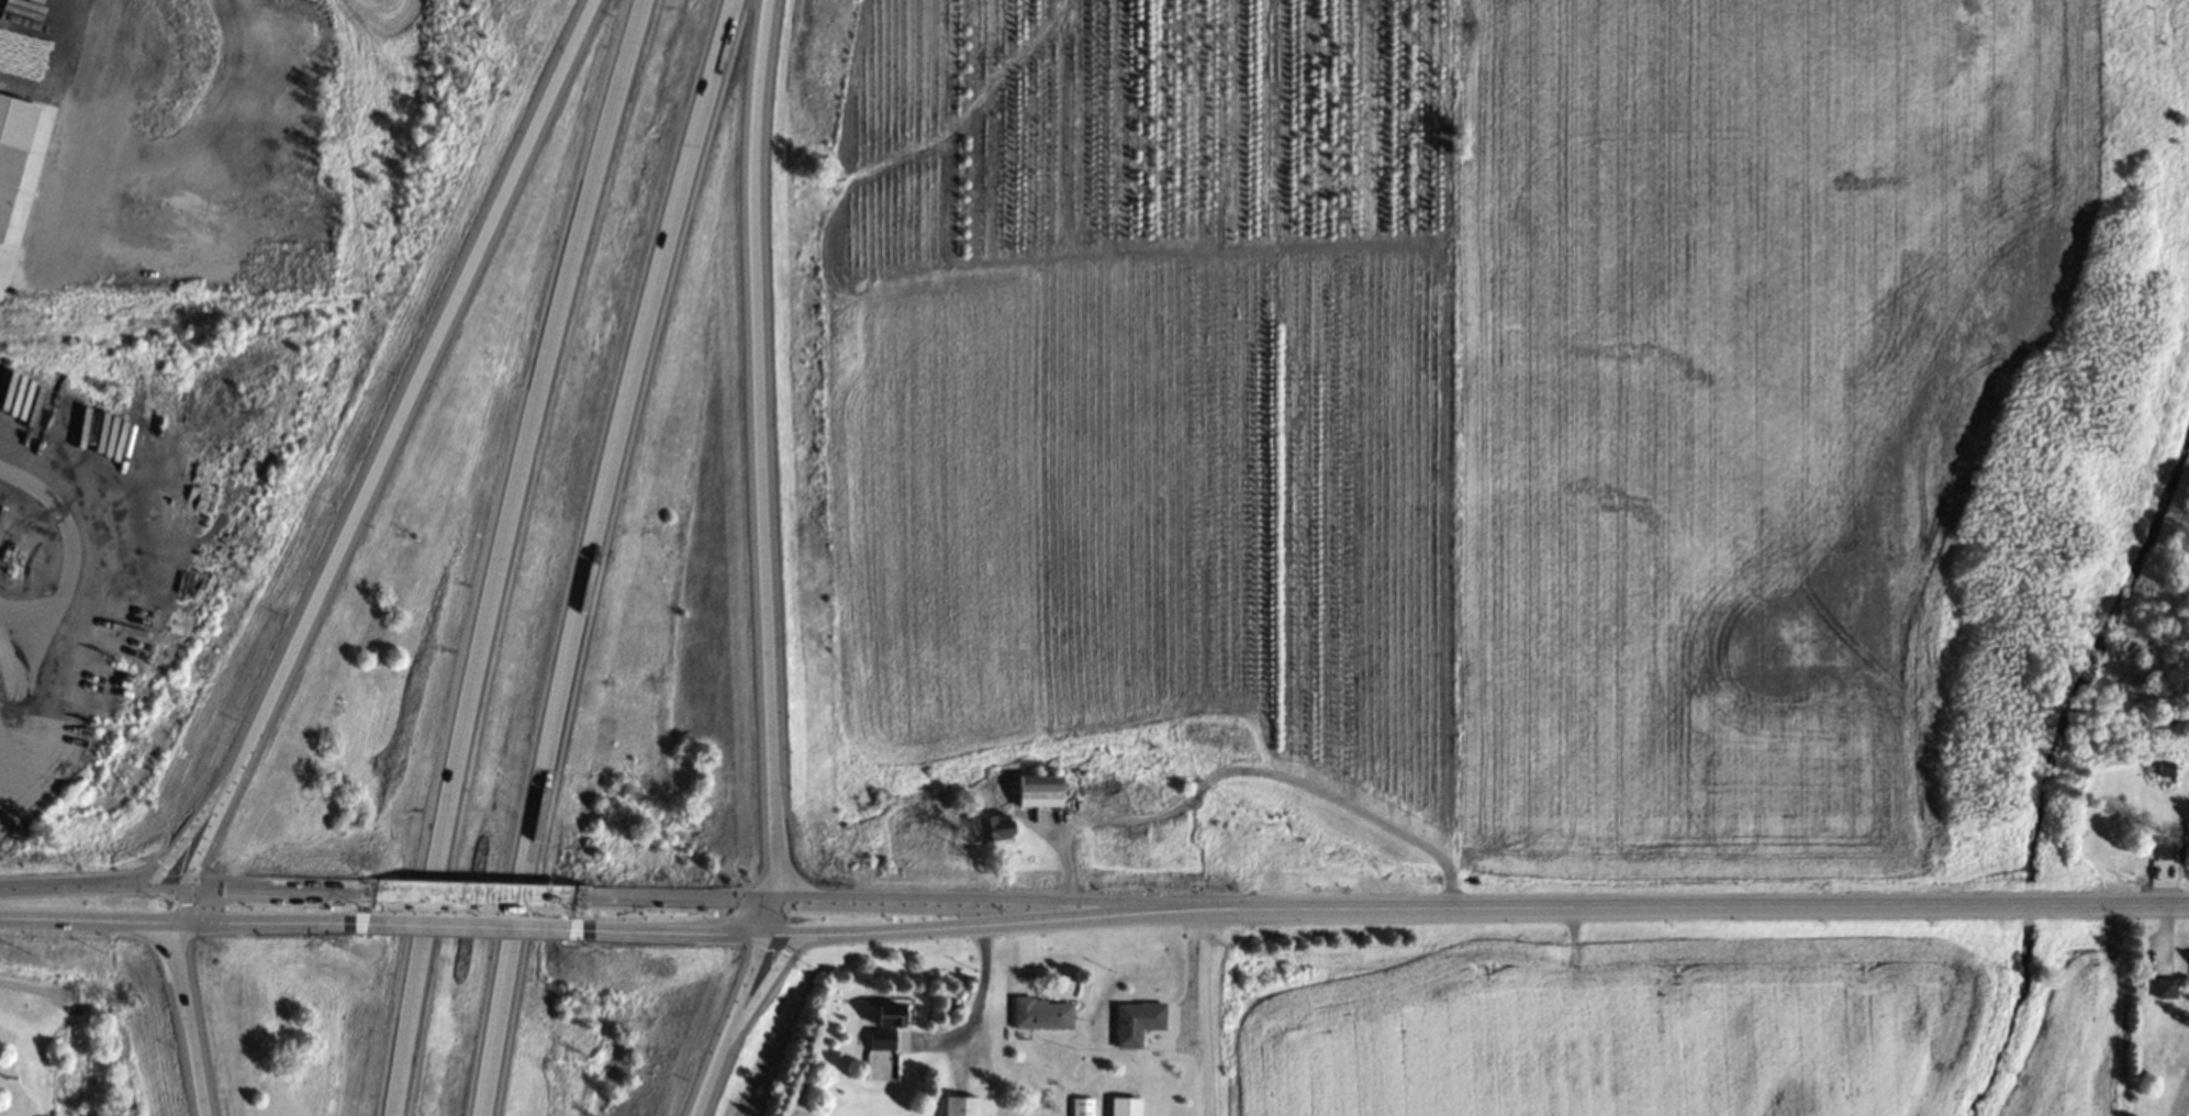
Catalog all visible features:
crop: (389, 25)
building: (11, 186)
road: (412, 390)
road: (762, 449)
road: (506, 551)
road: (606, 556)
road: (53, 583)
road: (18, 620)
road: (1246, 765)
building: (1034, 790)
building: (987, 827)
road: (206, 834)
road: (188, 835)
building: (2173, 849)
road: (90, 883)
road: (280, 890)
road: (469, 895)
road: (662, 900)
road: (870, 902)
road: (179, 903)
road: (2023, 905)
road: (2130, 905)
road: (1474, 906)
road: (761, 915)
road: (88, 917)
road: (275, 918)
road: (465, 922)
road: (656, 927)
road: (865, 929)
road: (758, 982)
road: (739, 984)
building: (2165, 989)
road: (969, 1003)
road: (1204, 1012)
building: (1038, 1013)
road: (186, 1017)
building: (1132, 1022)
building: (879, 1028)
road: (704, 1076)
building: (958, 1106)
building: (1081, 1106)
building: (1127, 1106)

